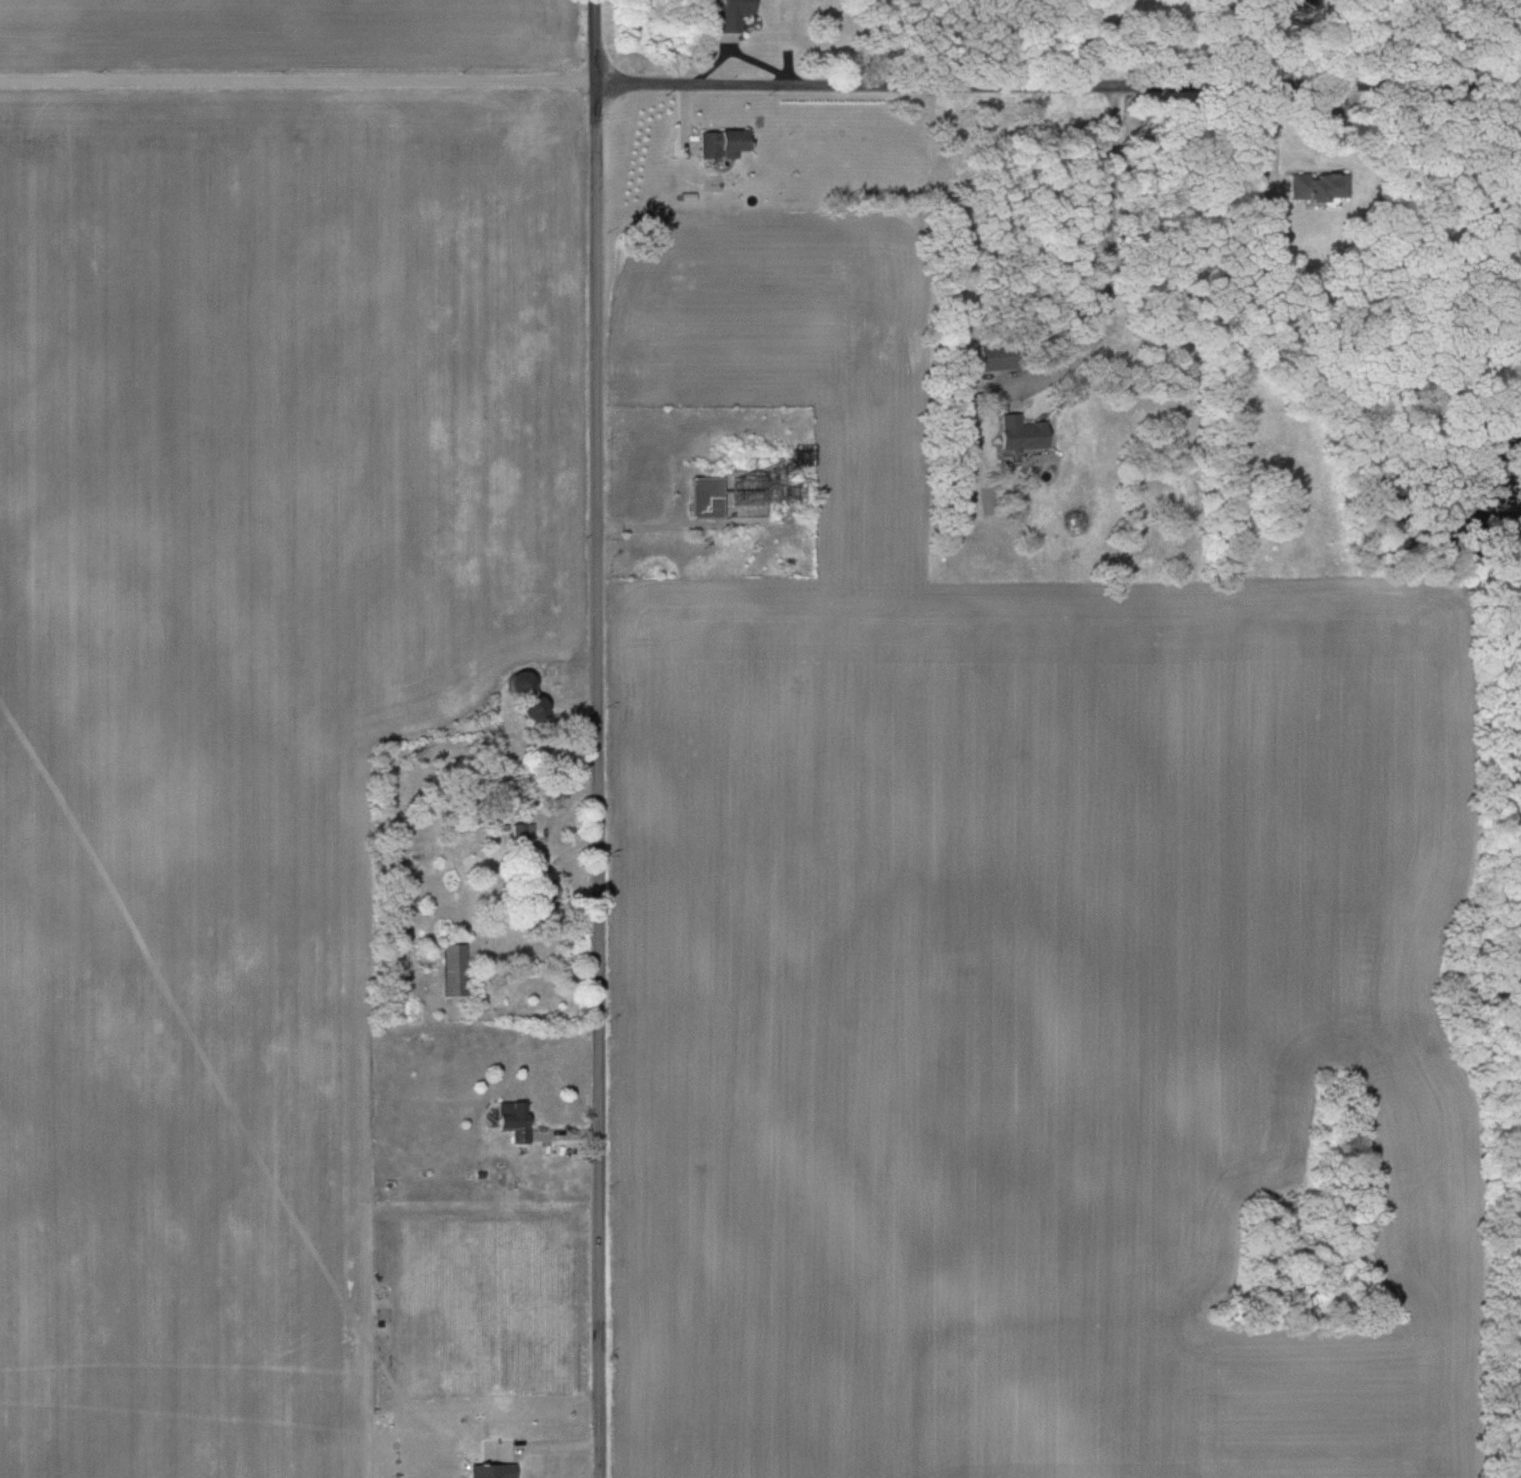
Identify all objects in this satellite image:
building: (730, 14)
road: (955, 42)
road: (298, 76)
road: (1058, 85)
building: (718, 141)
road: (1274, 141)
road: (1493, 145)
building: (1322, 186)
road: (1114, 264)
building: (997, 355)
building: (1021, 434)
building: (705, 497)
road: (599, 738)
building: (525, 833)
building: (542, 896)
building: (453, 970)
building: (513, 1120)
road: (546, 1445)

